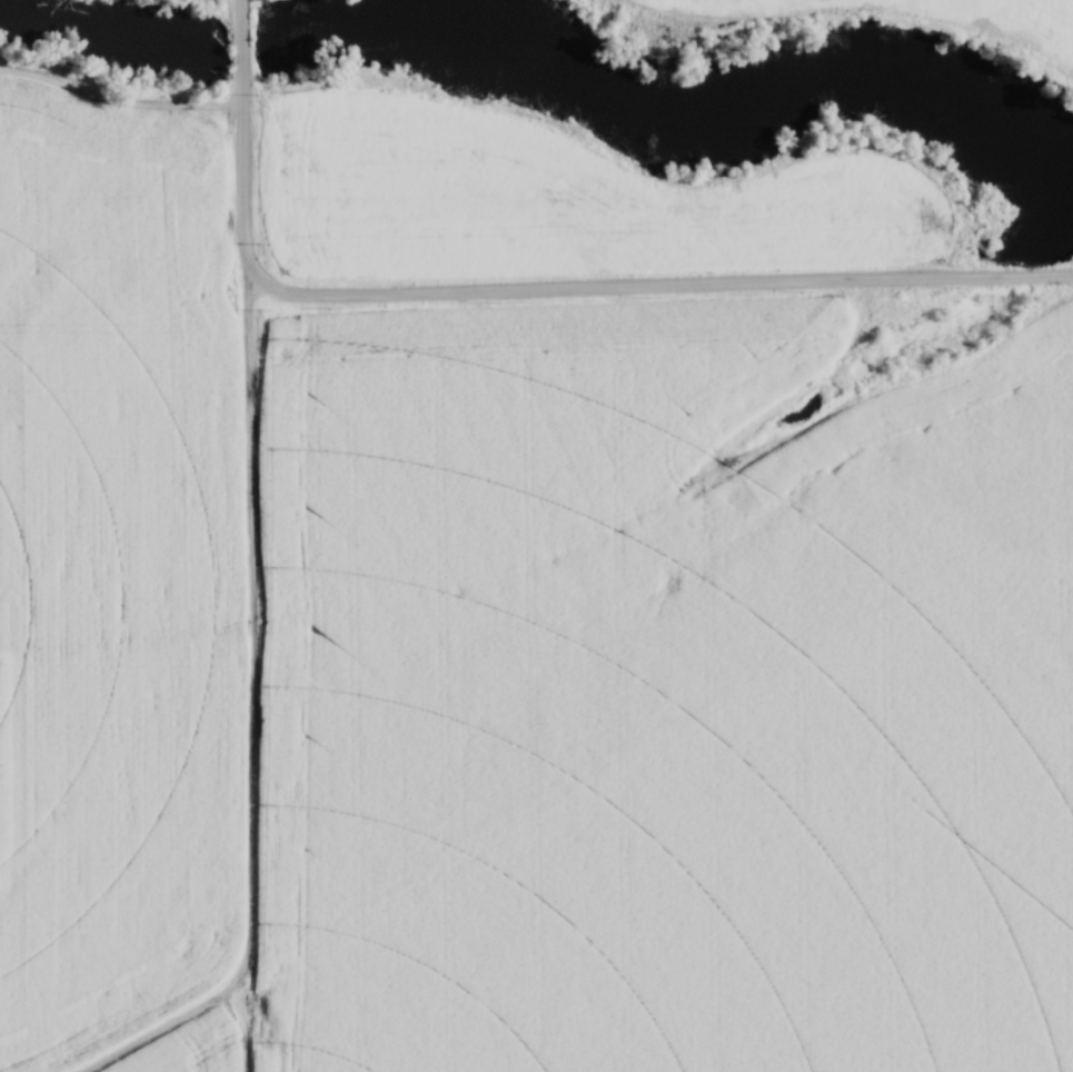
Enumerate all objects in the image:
road: (242, 143)
road: (666, 284)

